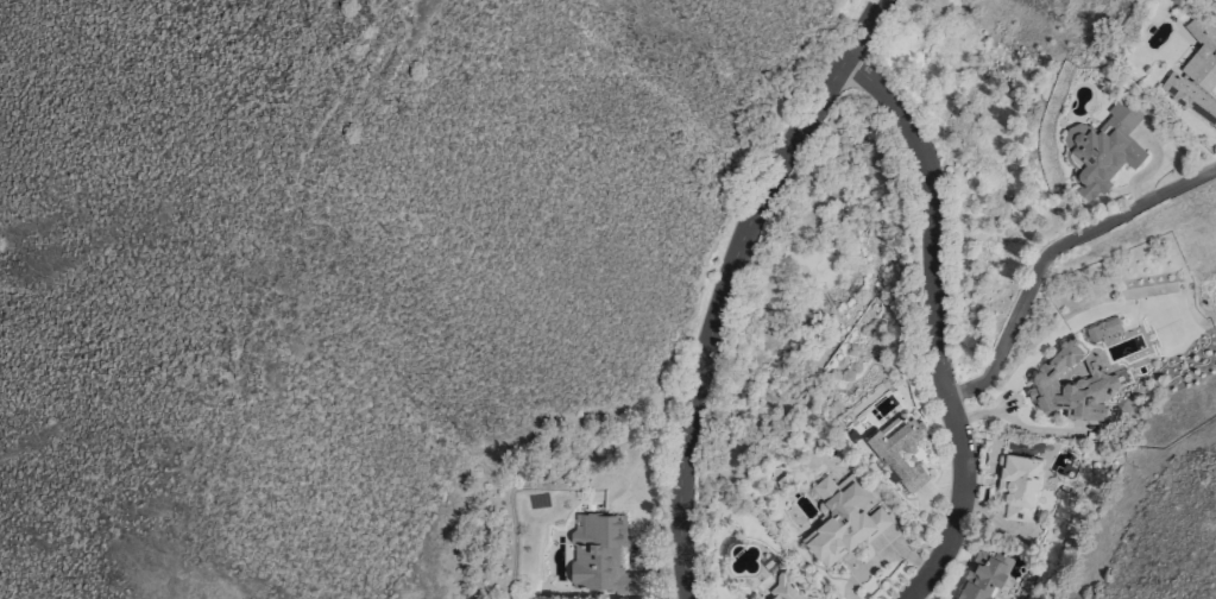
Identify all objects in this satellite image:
building: (1195, 74)
building: (1102, 147)
road: (1050, 250)
road: (725, 283)
road: (930, 324)
building: (1101, 328)
building: (1069, 385)
building: (1016, 485)
building: (840, 518)
building: (599, 555)
building: (979, 578)
building: (783, 588)

